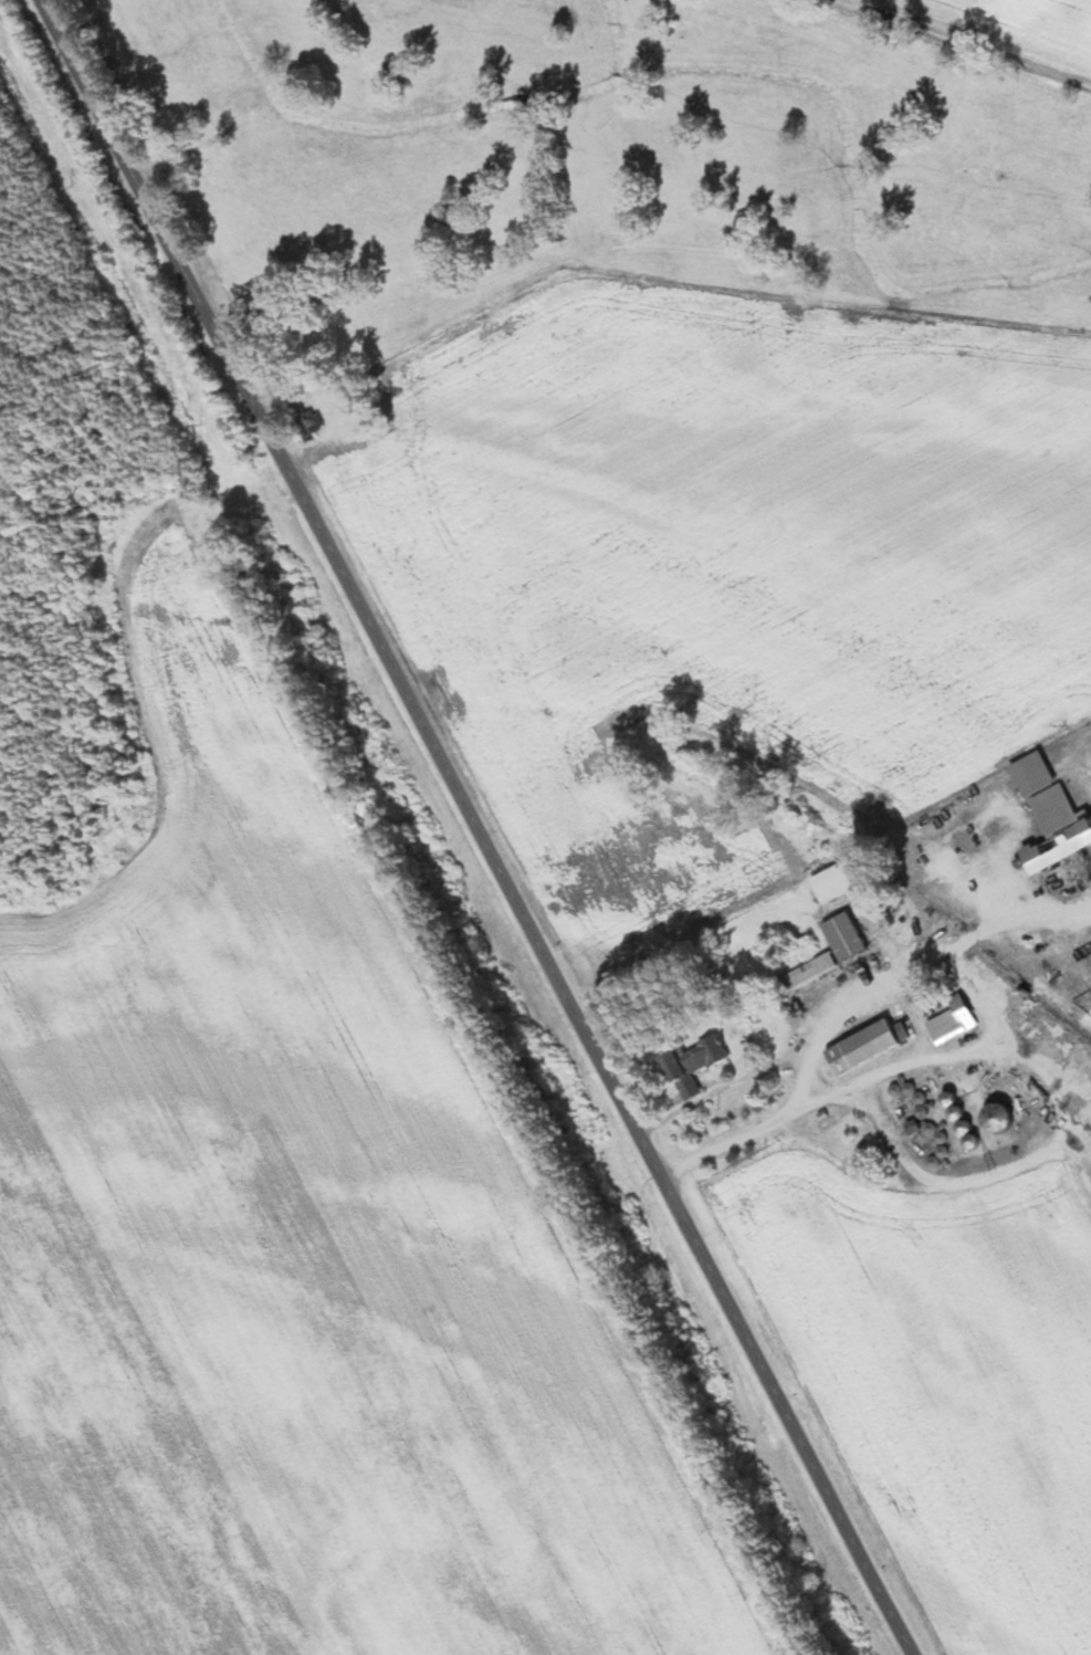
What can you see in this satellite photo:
road: (959, 42)
road: (476, 827)
road: (933, 1059)

